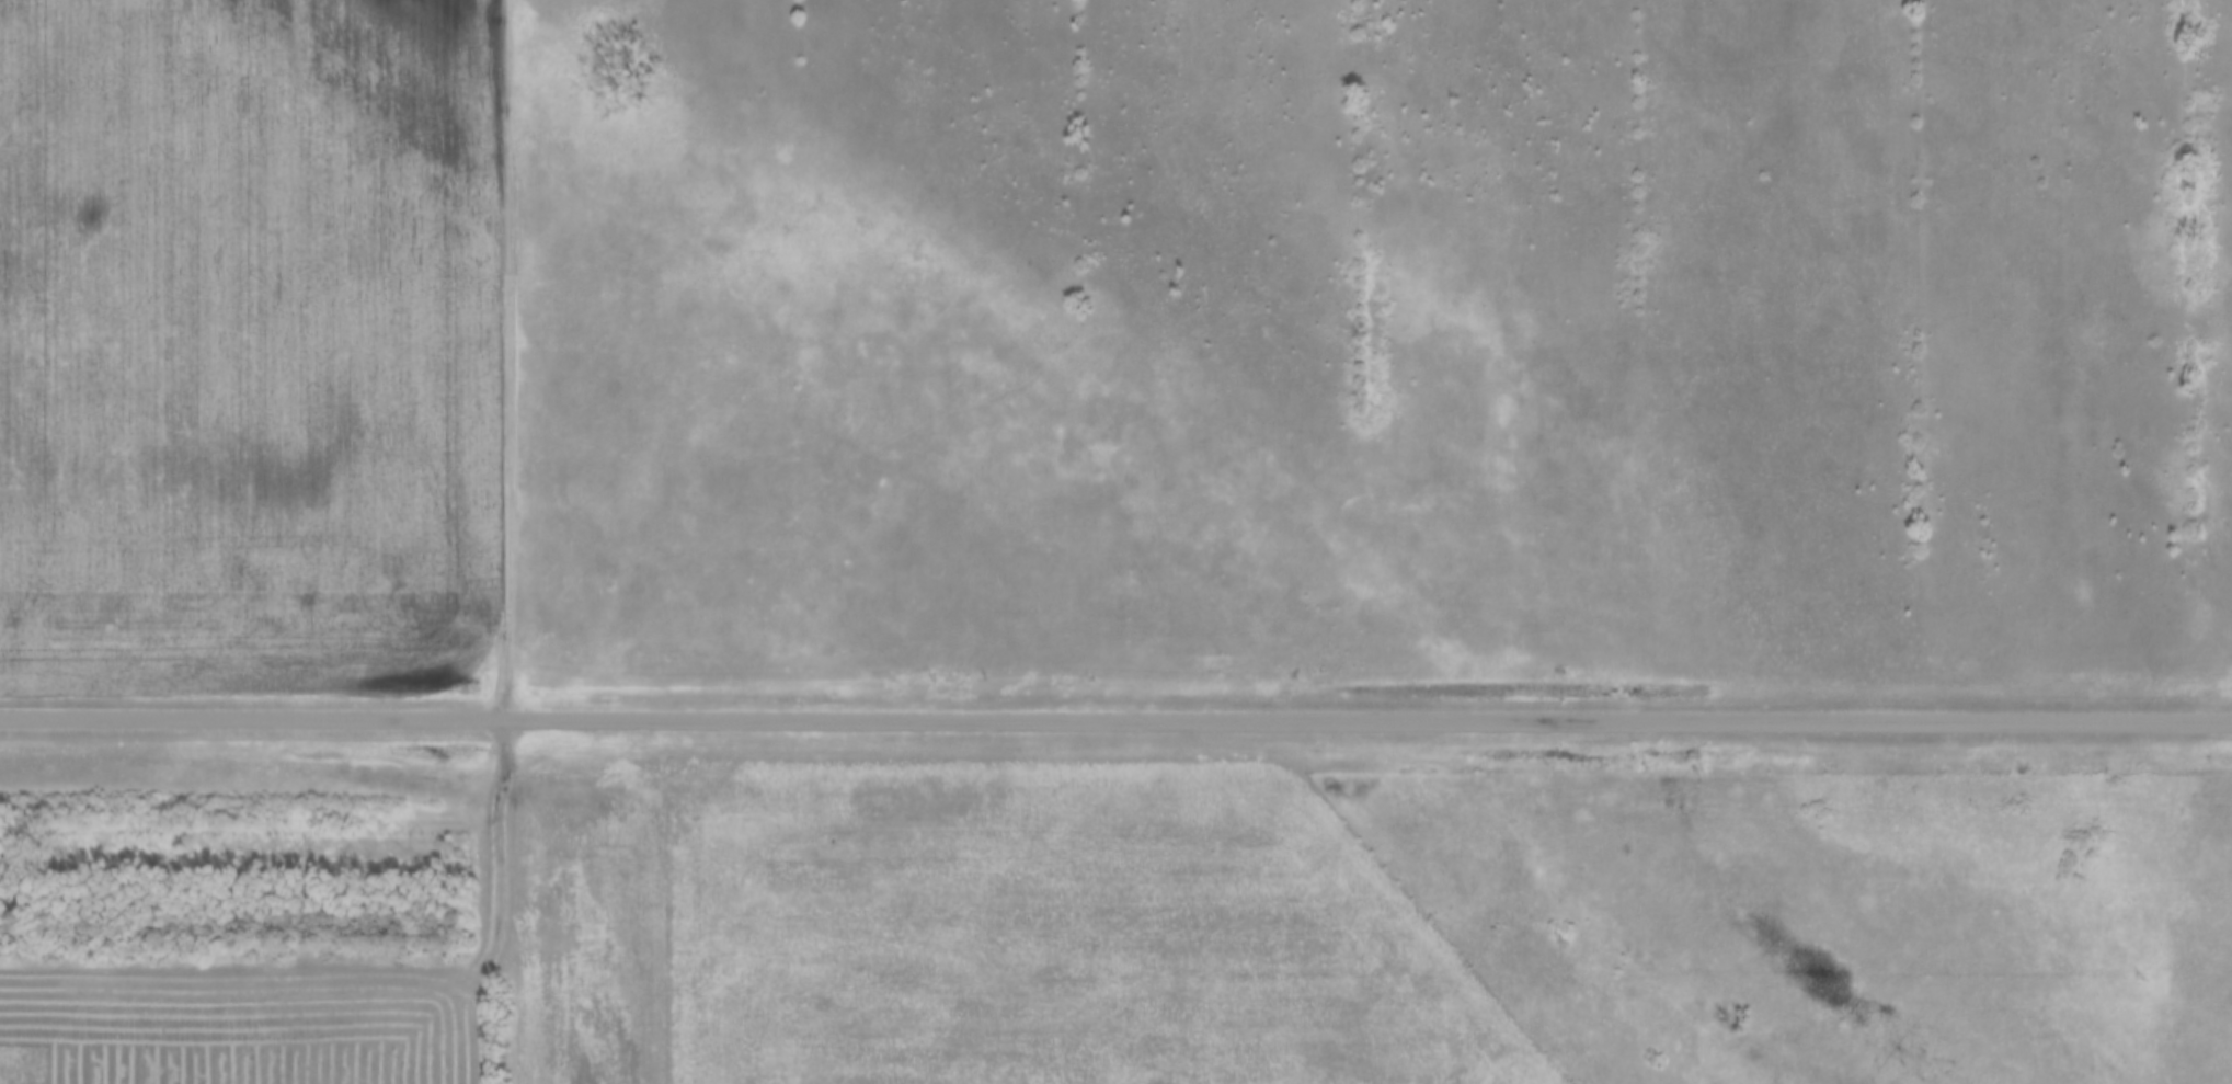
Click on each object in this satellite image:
road: (505, 356)
road: (1115, 715)
road: (503, 899)

